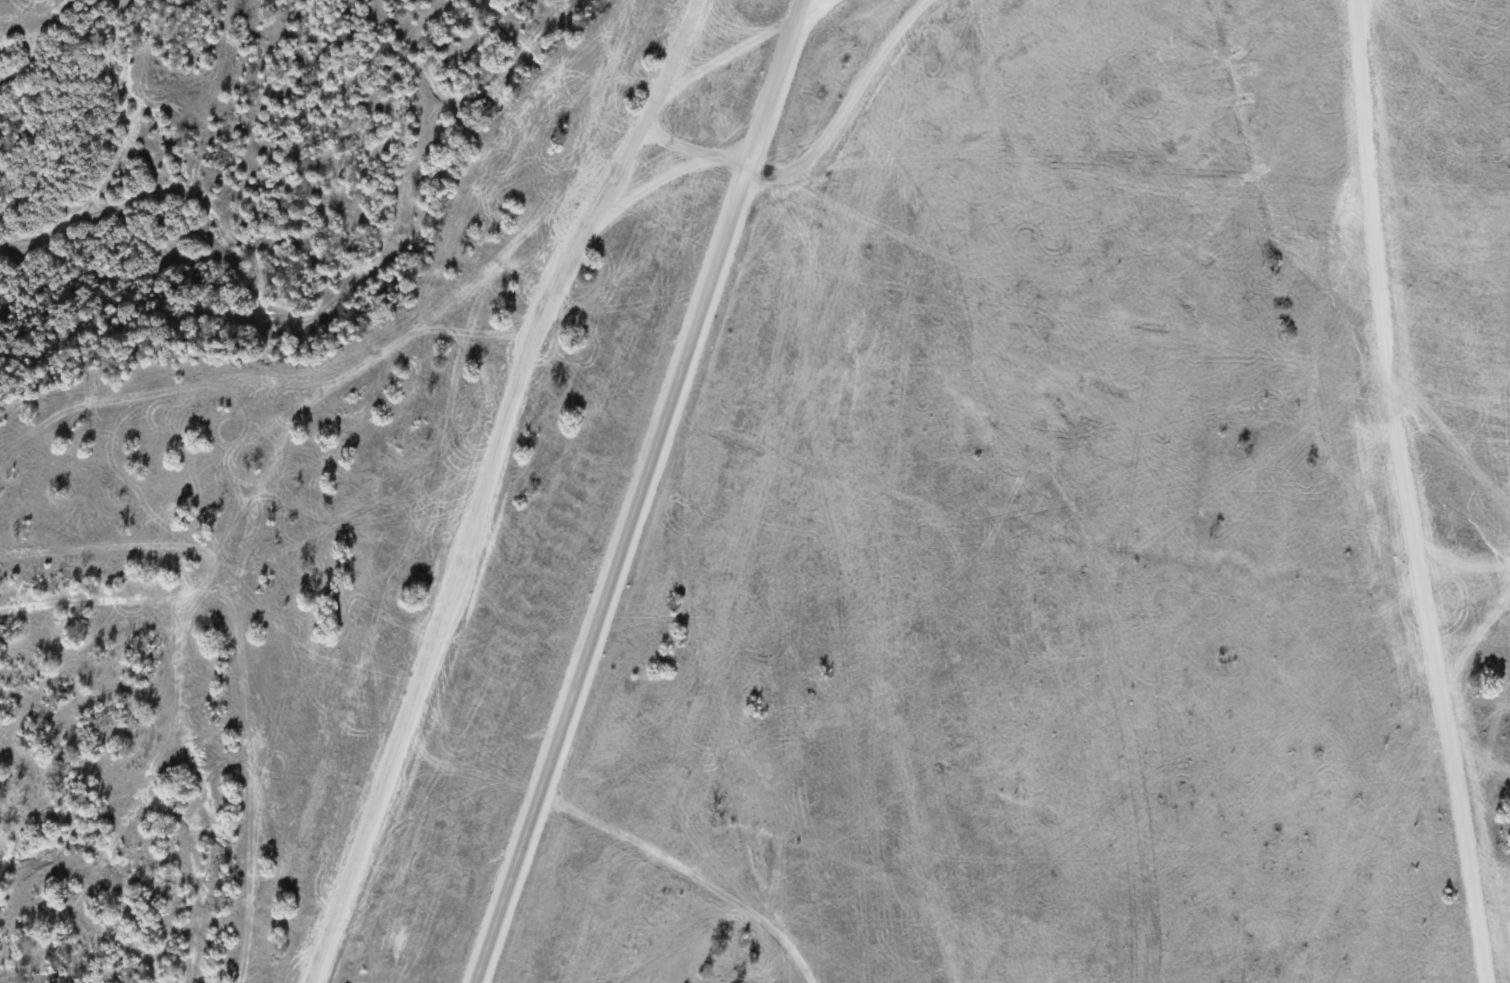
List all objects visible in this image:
road: (807, 7)
road: (813, 7)
road: (815, 156)
road: (494, 488)
road: (1409, 493)
road: (643, 499)

